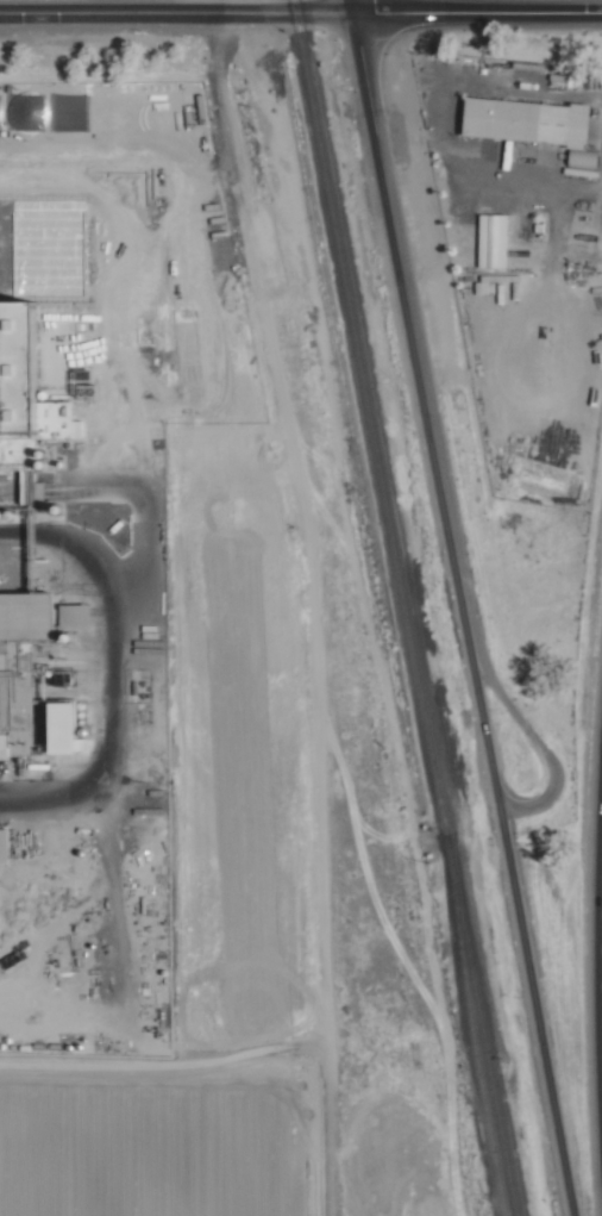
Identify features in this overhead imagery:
road: (352, 6)
road: (176, 13)
road: (477, 13)
building: (529, 124)
building: (491, 239)
road: (409, 319)
building: (64, 336)
railway: (347, 420)
building: (63, 424)
railway: (403, 607)
building: (69, 618)
building: (31, 625)
road: (478, 706)
building: (58, 729)
road: (529, 737)
building: (1, 834)
road: (600, 956)
road: (533, 1000)
railway: (474, 1048)

